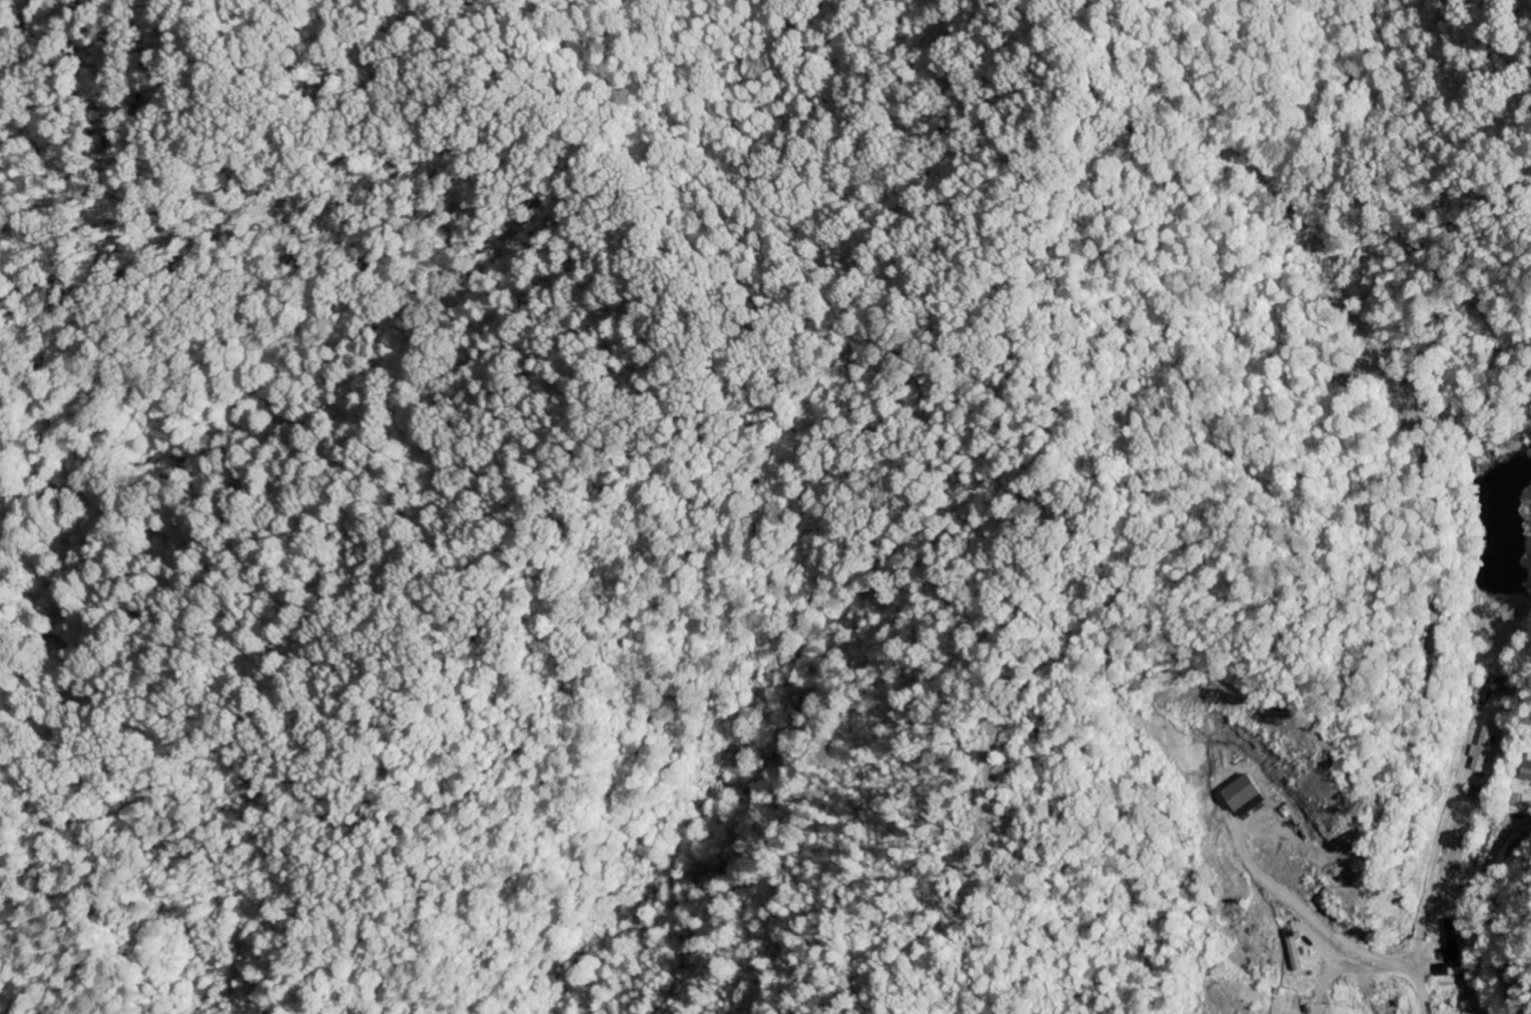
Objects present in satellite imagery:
building: (1479, 750)
building: (1526, 772)
building: (1239, 797)
building: (1292, 951)
building: (1440, 971)

